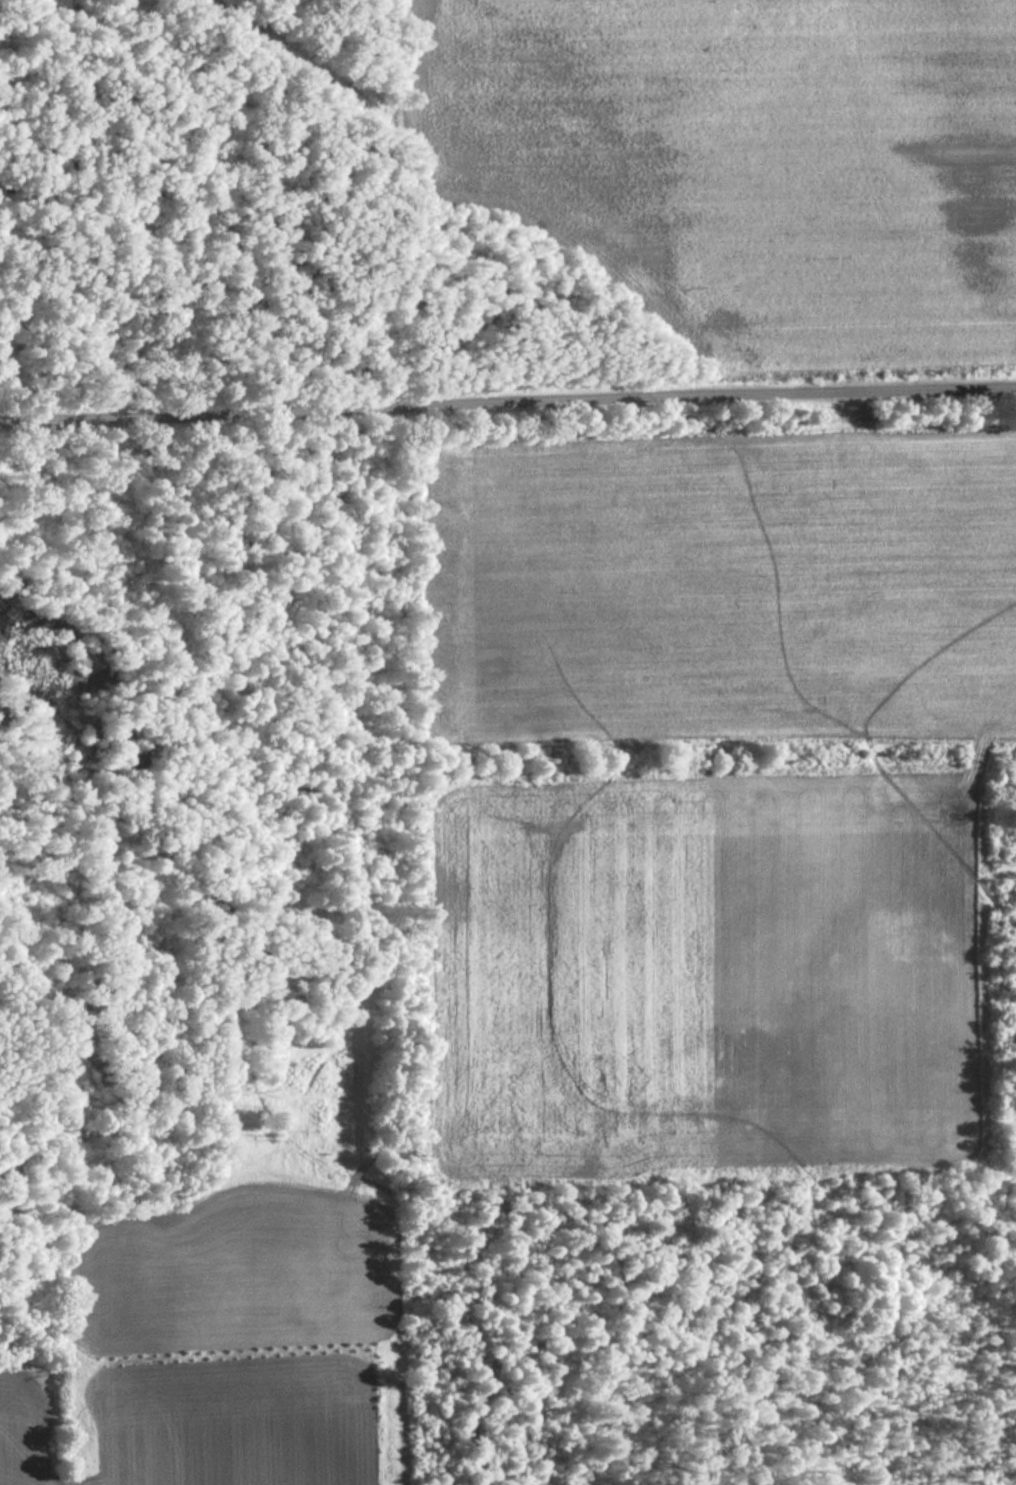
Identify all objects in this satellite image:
road: (507, 408)

